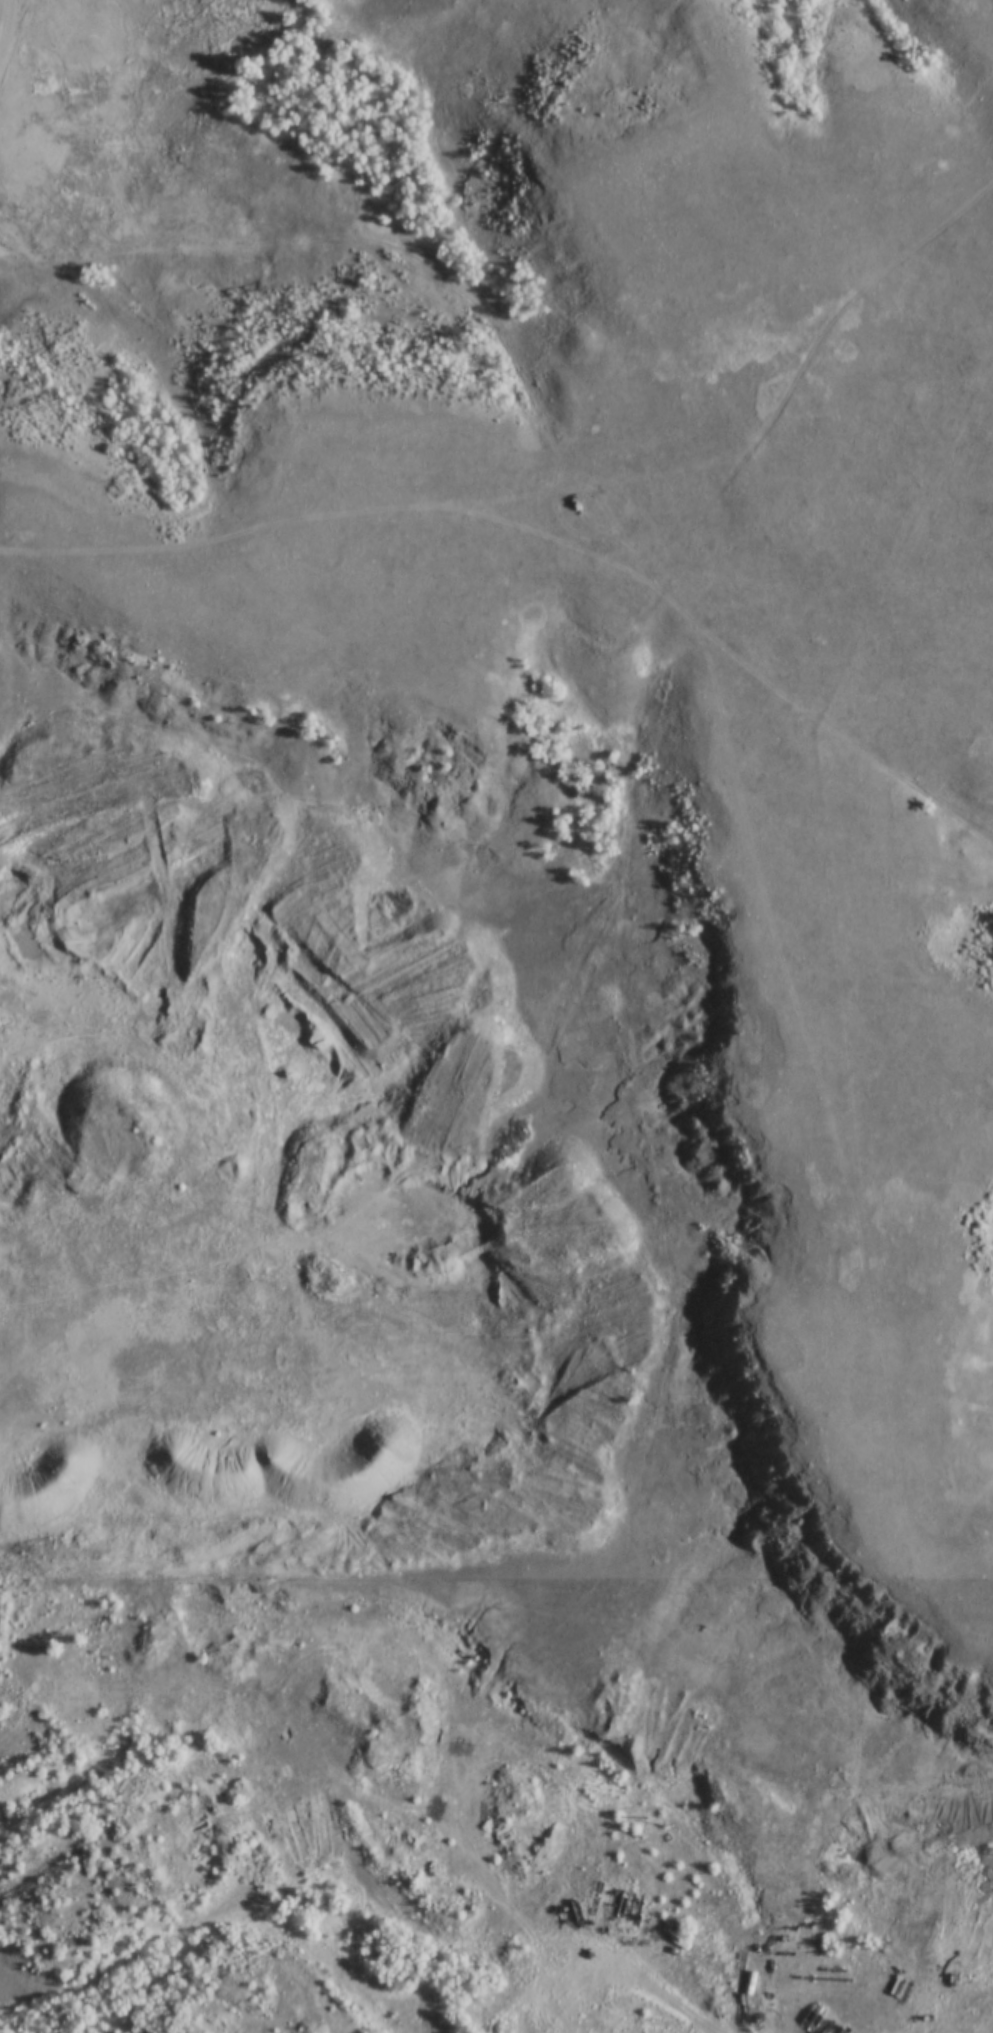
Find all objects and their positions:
quarry: (490, 1828)
road: (762, 1942)

